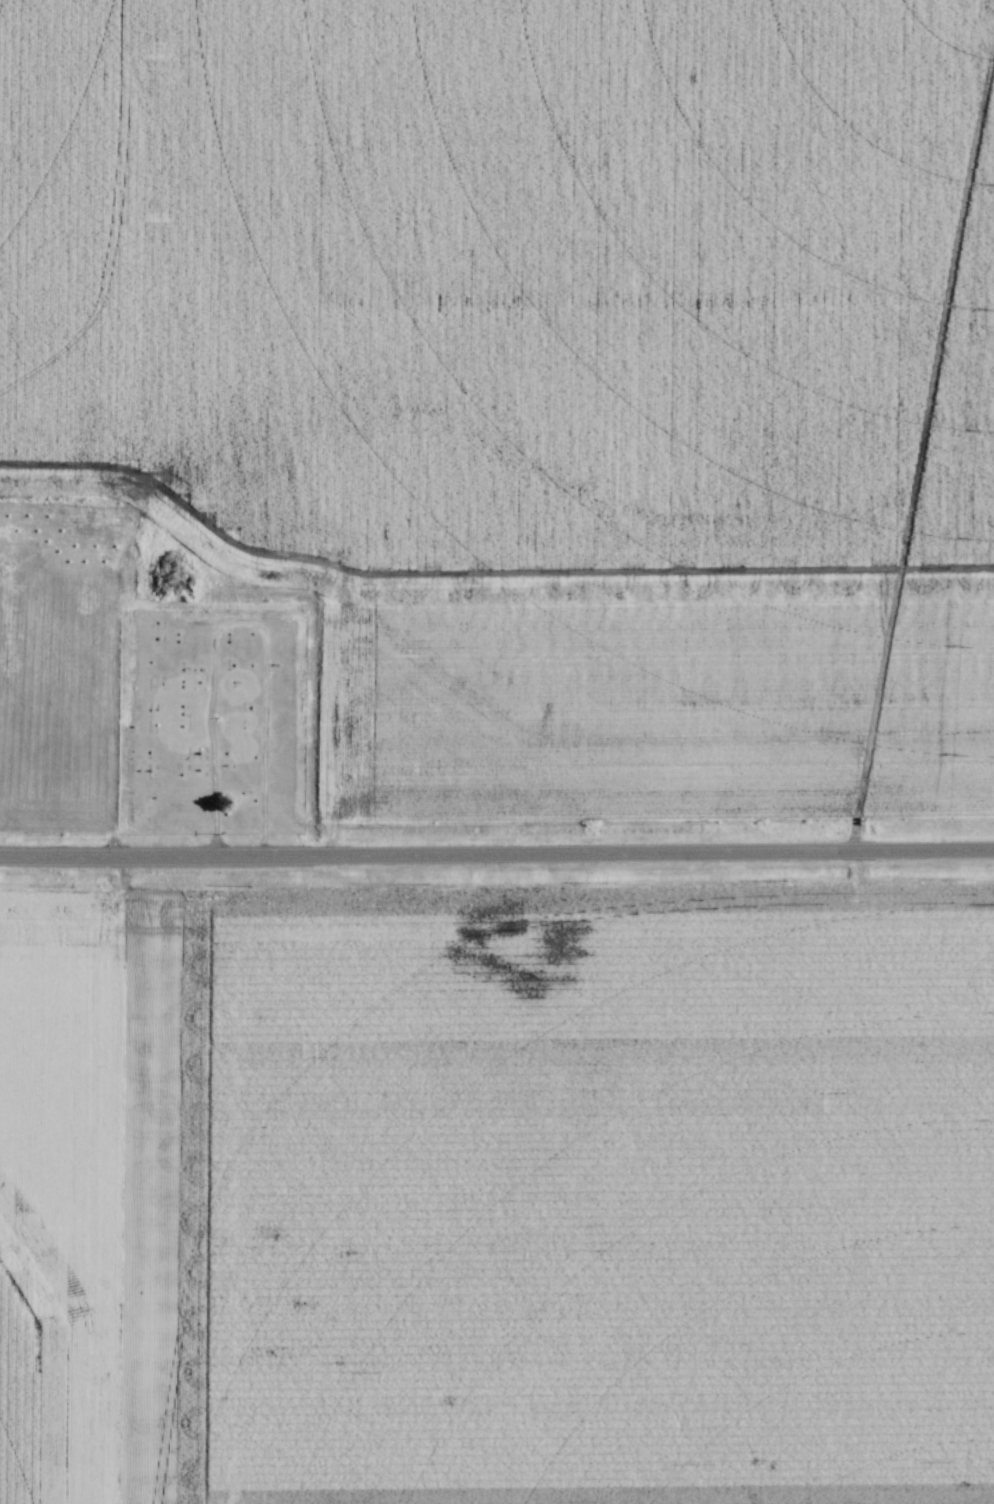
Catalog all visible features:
crop: (541, 368)
road: (497, 855)
crop: (59, 1193)

